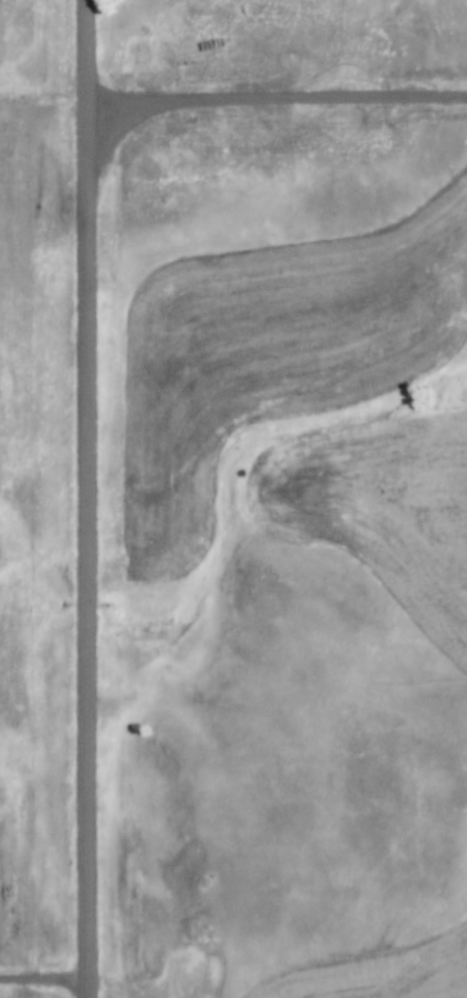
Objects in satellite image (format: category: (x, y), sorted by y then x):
road: (88, 499)

